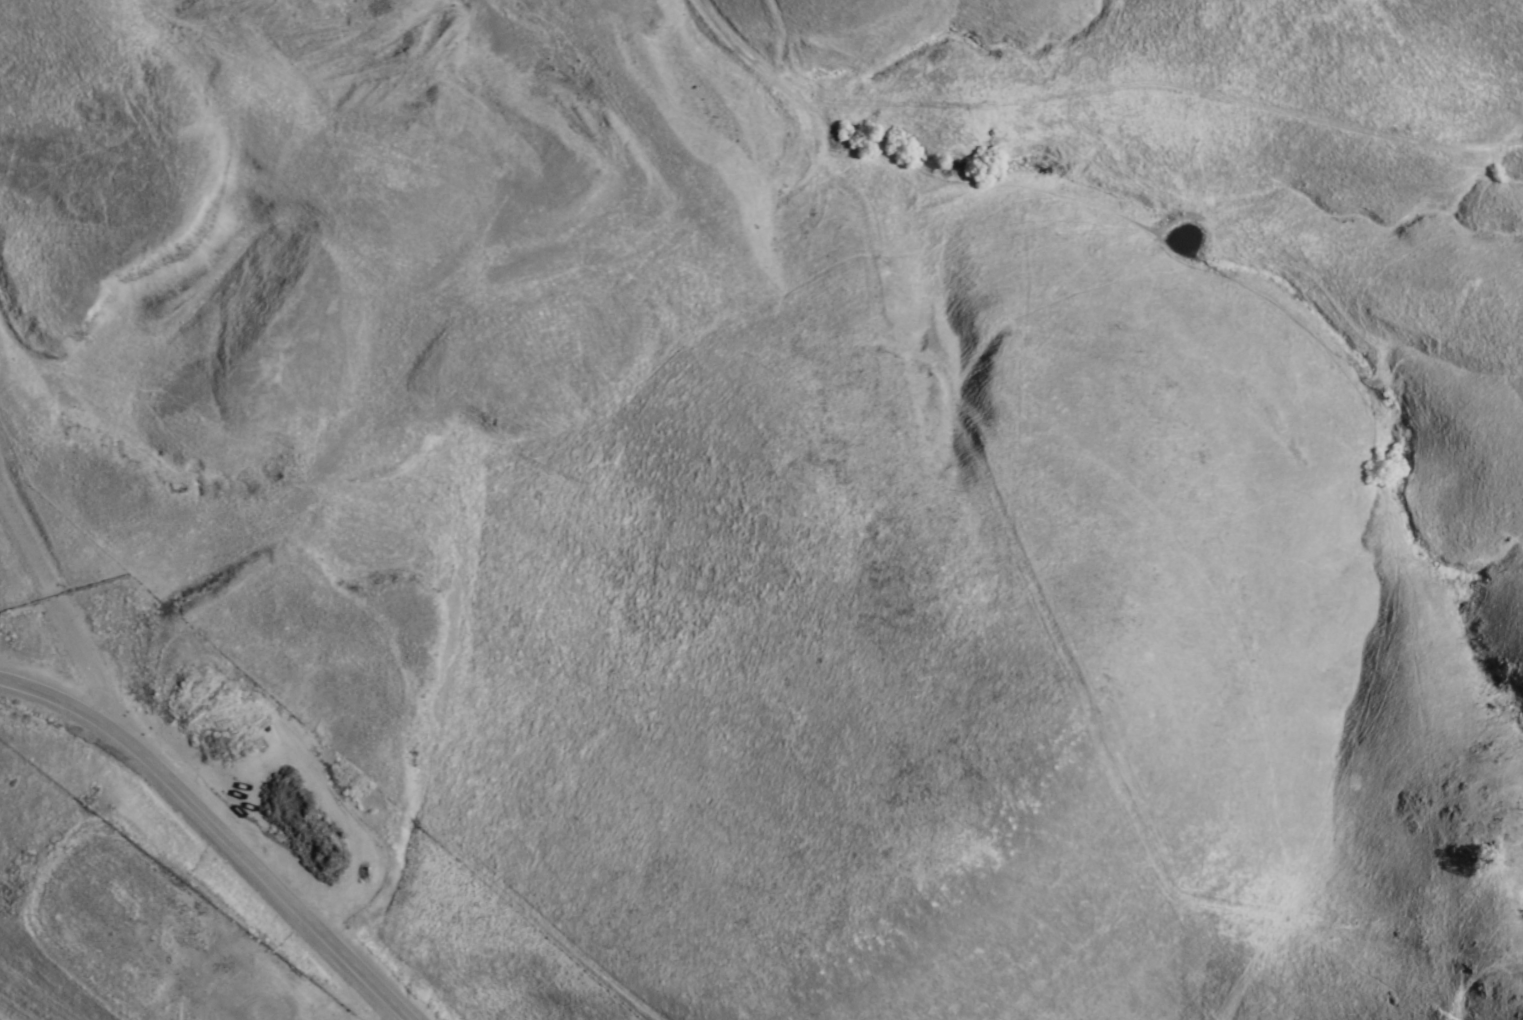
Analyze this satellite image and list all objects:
road: (219, 829)

